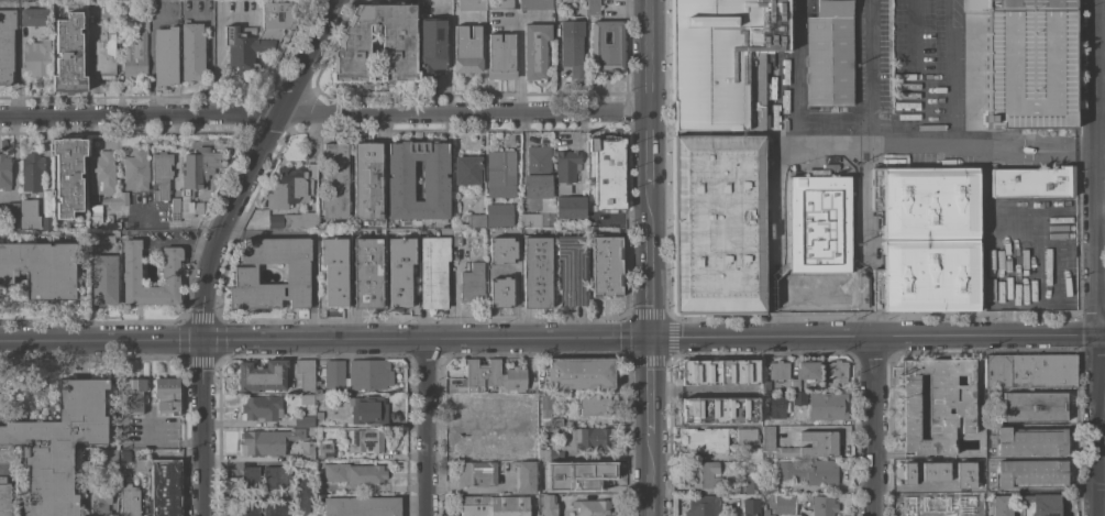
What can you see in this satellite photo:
building: (498, 3)
building: (534, 3)
building: (472, 4)
parking lot: (1019, 4)
building: (594, 7)
building: (832, 8)
building: (92, 10)
building: (34, 17)
building: (774, 25)
building: (259, 35)
building: (398, 43)
building: (5, 44)
building: (433, 44)
building: (607, 45)
building: (574, 48)
building: (192, 50)
building: (466, 50)
building: (535, 50)
building: (104, 53)
building: (135, 54)
building: (68, 55)
building: (166, 55)
building: (501, 55)
building: (36, 57)
road: (641, 57)
road: (151, 58)
building: (829, 59)
building: (712, 62)
building: (1028, 63)
parking garage: (1028, 63)
parking lot: (1028, 67)
road: (798, 73)
road: (871, 73)
road: (909, 73)
road: (947, 73)
building: (756, 88)
road: (320, 116)
road: (1002, 141)
road: (1060, 142)
road: (880, 146)
building: (1027, 149)
road: (642, 152)
road: (1006, 154)
road: (1065, 157)
building: (566, 165)
building: (467, 169)
building: (5, 171)
building: (135, 171)
building: (32, 172)
building: (608, 172)
building: (101, 173)
building: (538, 173)
building: (162, 174)
building: (68, 175)
building: (501, 175)
building: (196, 178)
building: (418, 179)
building: (335, 180)
building: (1031, 180)
building: (367, 182)
building: (291, 186)
road: (983, 187)
building: (117, 199)
building: (926, 201)
building: (571, 206)
road: (643, 208)
building: (175, 209)
building: (11, 213)
building: (29, 213)
building: (499, 215)
building: (546, 218)
building: (292, 220)
building: (476, 220)
building: (719, 221)
building: (46, 222)
building: (100, 226)
road: (776, 228)
road: (859, 228)
building: (502, 235)
building: (456, 237)
building: (818, 237)
building: (321, 239)
road: (185, 243)
road: (222, 245)
road: (1100, 257)
building: (606, 266)
building: (41, 267)
building: (572, 270)
building: (433, 271)
building: (537, 271)
building: (131, 272)
building: (367, 272)
building: (245, 274)
building: (930, 276)
building: (104, 278)
building: (336, 278)
building: (472, 282)
road: (644, 282)
building: (501, 284)
building: (405, 286)
road: (859, 322)
road: (776, 323)
traffic signals: (645, 337)
road: (874, 337)
road: (322, 339)
traffic signals: (205, 341)
building: (778, 370)
building: (838, 370)
building: (1030, 370)
building: (579, 372)
building: (718, 372)
building: (306, 373)
building: (369, 373)
building: (805, 373)
building: (263, 374)
building: (334, 374)
building: (479, 375)
building: (516, 378)
road: (645, 385)
building: (766, 385)
building: (825, 385)
building: (167, 394)
building: (132, 395)
building: (321, 395)
building: (799, 397)
building: (307, 398)
building: (596, 404)
building: (938, 404)
building: (546, 405)
building: (778, 406)
building: (827, 406)
building: (1034, 406)
building: (262, 407)
building: (483, 407)
building: (368, 409)
building: (718, 410)
building: (513, 419)
building: (303, 420)
building: (556, 420)
building: (570, 422)
road: (430, 427)
road: (875, 427)
building: (748, 436)
building: (587, 438)
building: (767, 438)
building: (364, 439)
building: (485, 439)
building: (705, 440)
building: (1030, 440)
building: (268, 441)
building: (814, 444)
building: (58, 446)
building: (308, 450)
building: (324, 450)
building: (512, 451)
building: (546, 451)
building: (754, 452)
building: (163, 454)
building: (8, 455)
building: (110, 455)
building: (124, 455)
building: (141, 464)
building: (553, 464)
building: (808, 471)
building: (926, 472)
building: (477, 473)
building: (907, 473)
building: (1030, 473)
building: (357, 474)
building: (700, 474)
road: (645, 475)
building: (276, 476)
building: (526, 476)
building: (250, 477)
building: (594, 477)
building: (752, 483)
building: (963, 485)
building: (769, 486)
road: (1103, 491)
building: (301, 494)
building: (4, 496)
building: (163, 497)
building: (98, 498)
building: (129, 499)
building: (973, 503)
building: (784, 504)
building: (495, 505)
building: (549, 505)
building: (703, 505)
building: (824, 505)
building: (930, 505)
building: (1002, 505)
building: (1041, 505)
building: (362, 506)
building: (751, 506)
building: (593, 507)
building: (251, 508)
building: (276, 508)
building: (765, 510)

